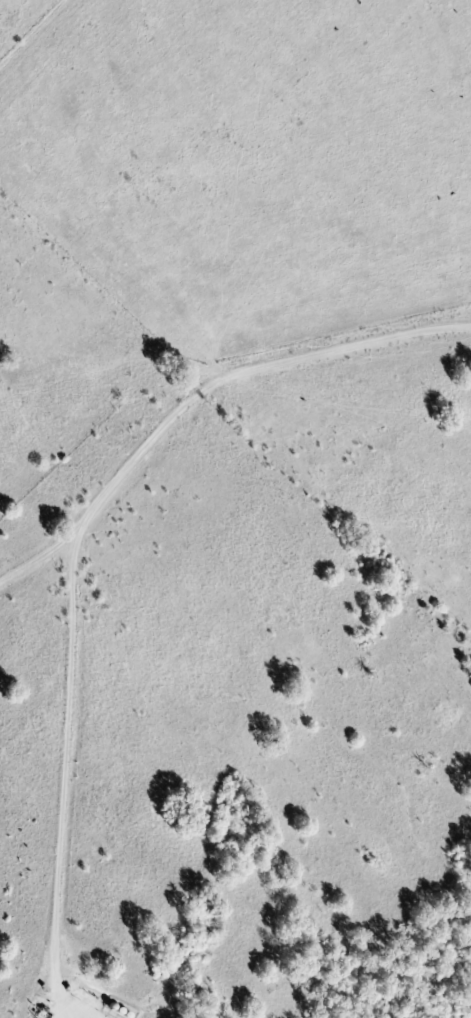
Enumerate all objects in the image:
road: (228, 539)

